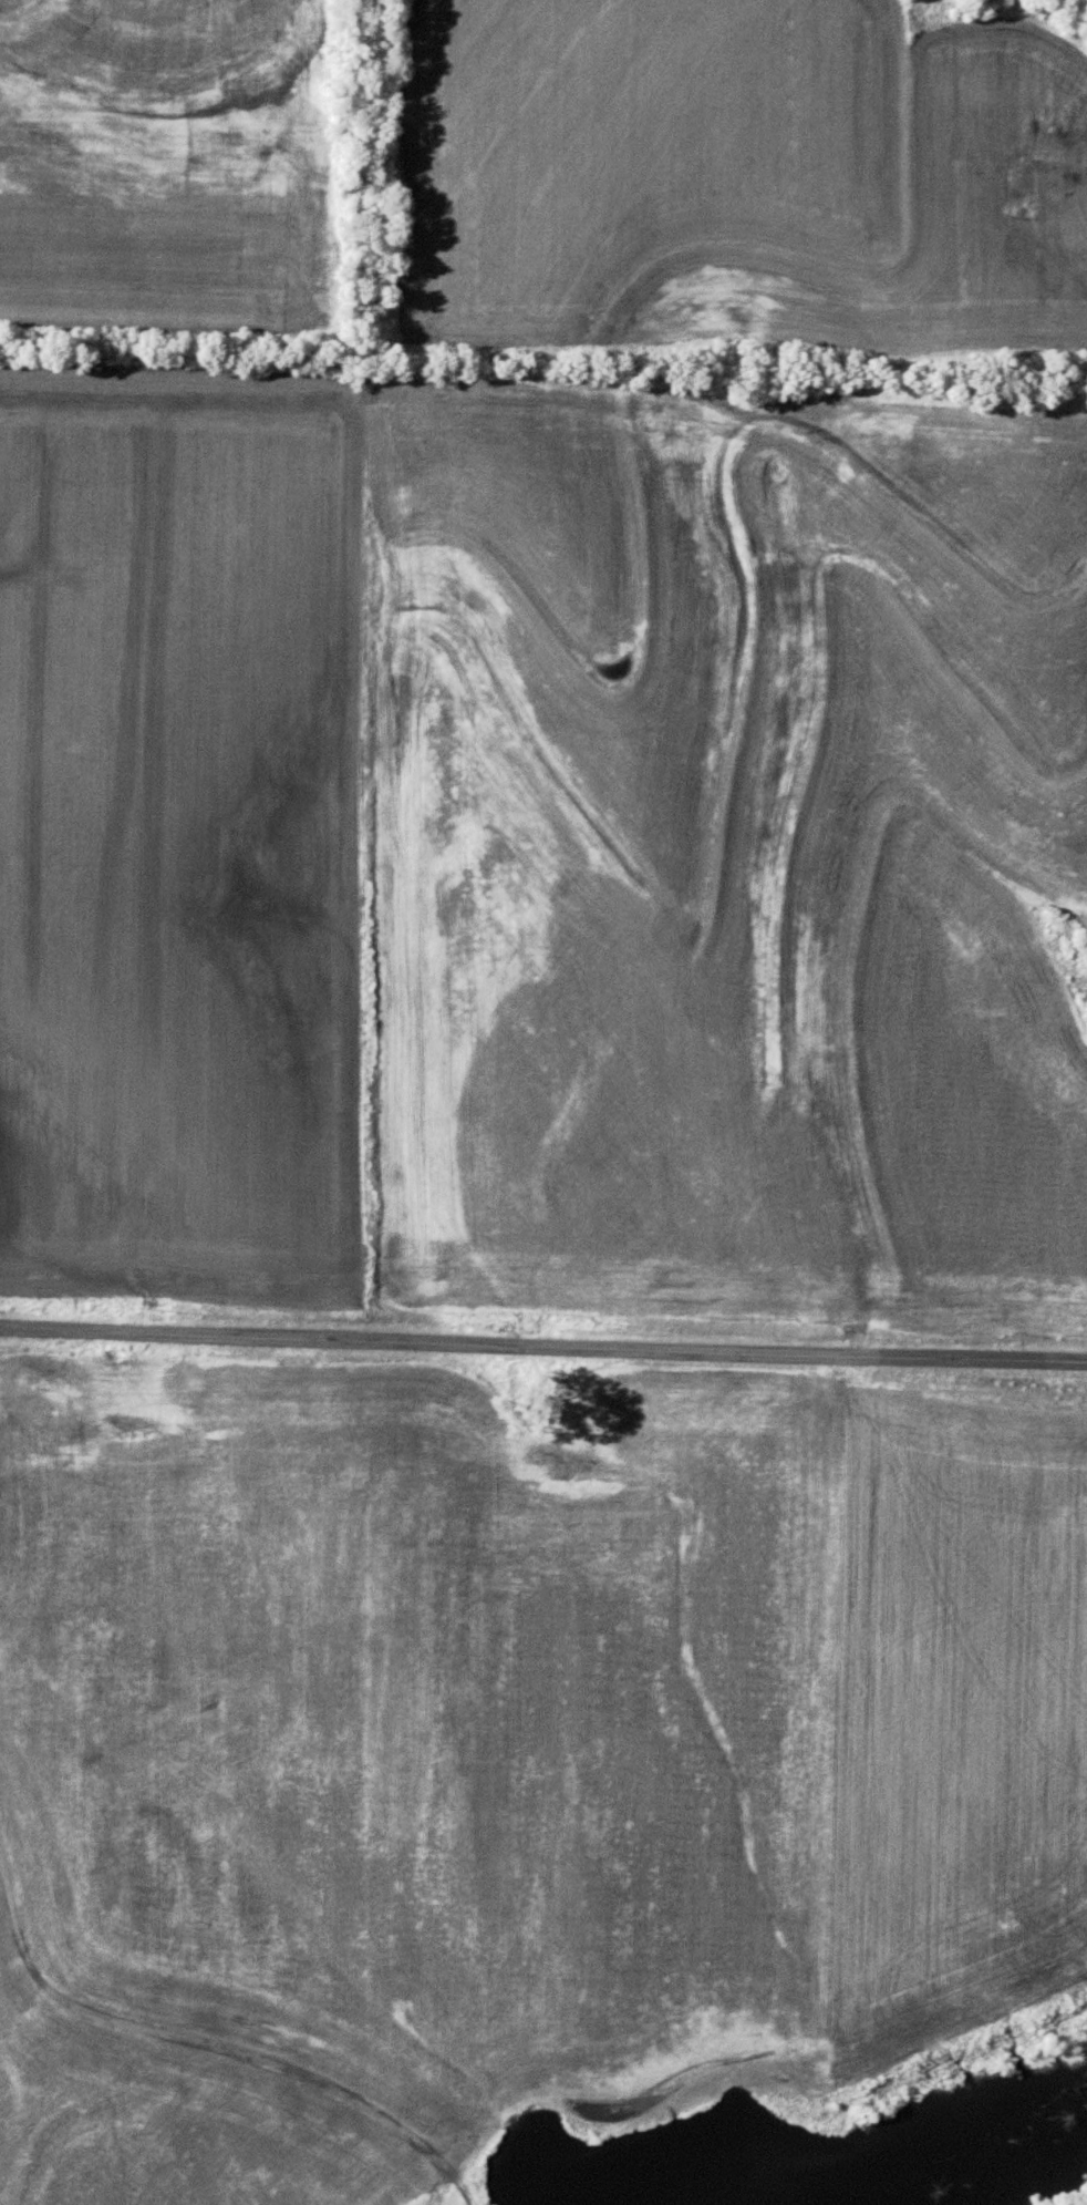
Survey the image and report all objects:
road: (542, 1344)
dam: (499, 2193)

